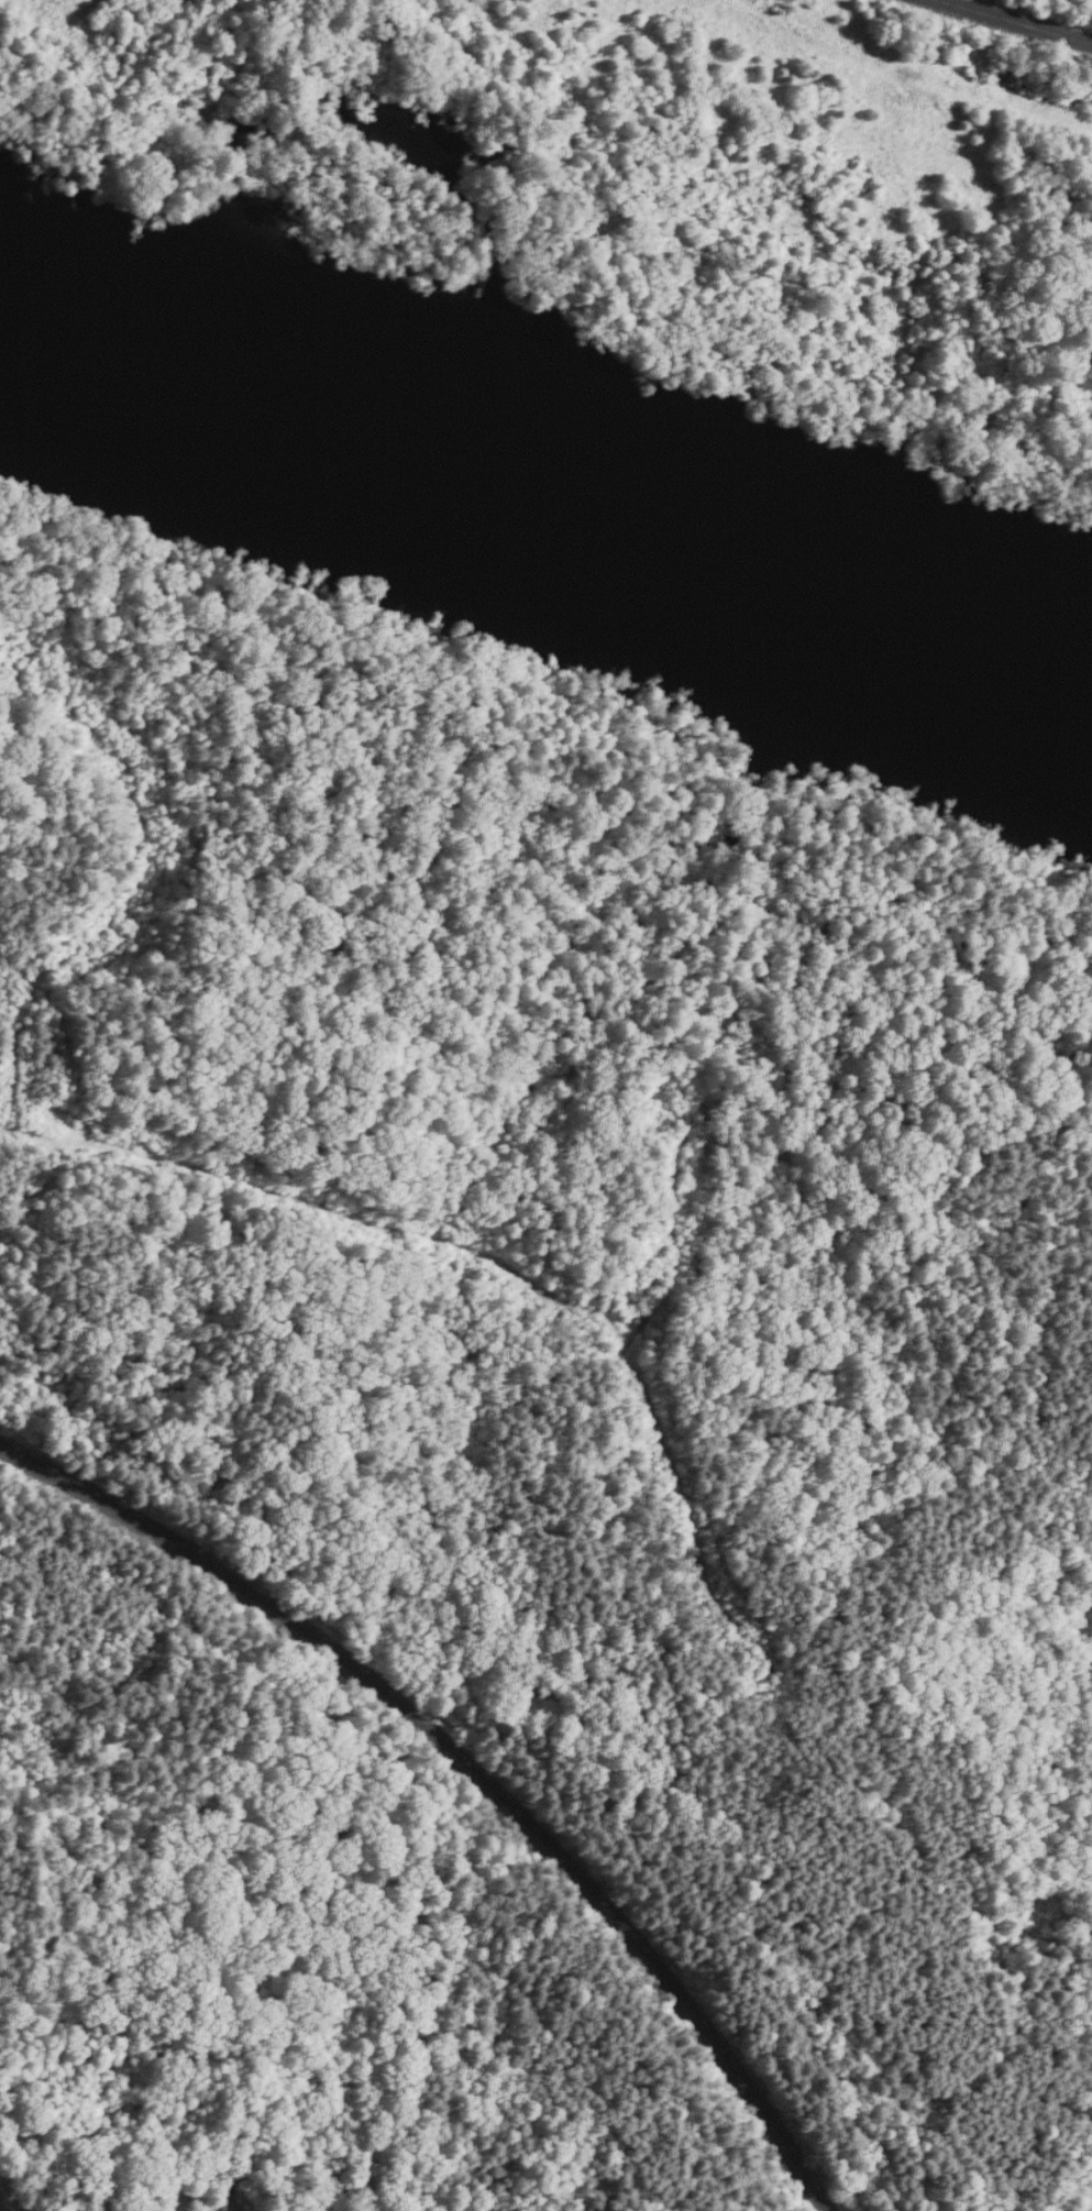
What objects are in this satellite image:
railway: (1018, 20)
river: (548, 432)
railway: (464, 1774)
building: (20, 2135)
building: (225, 2193)

